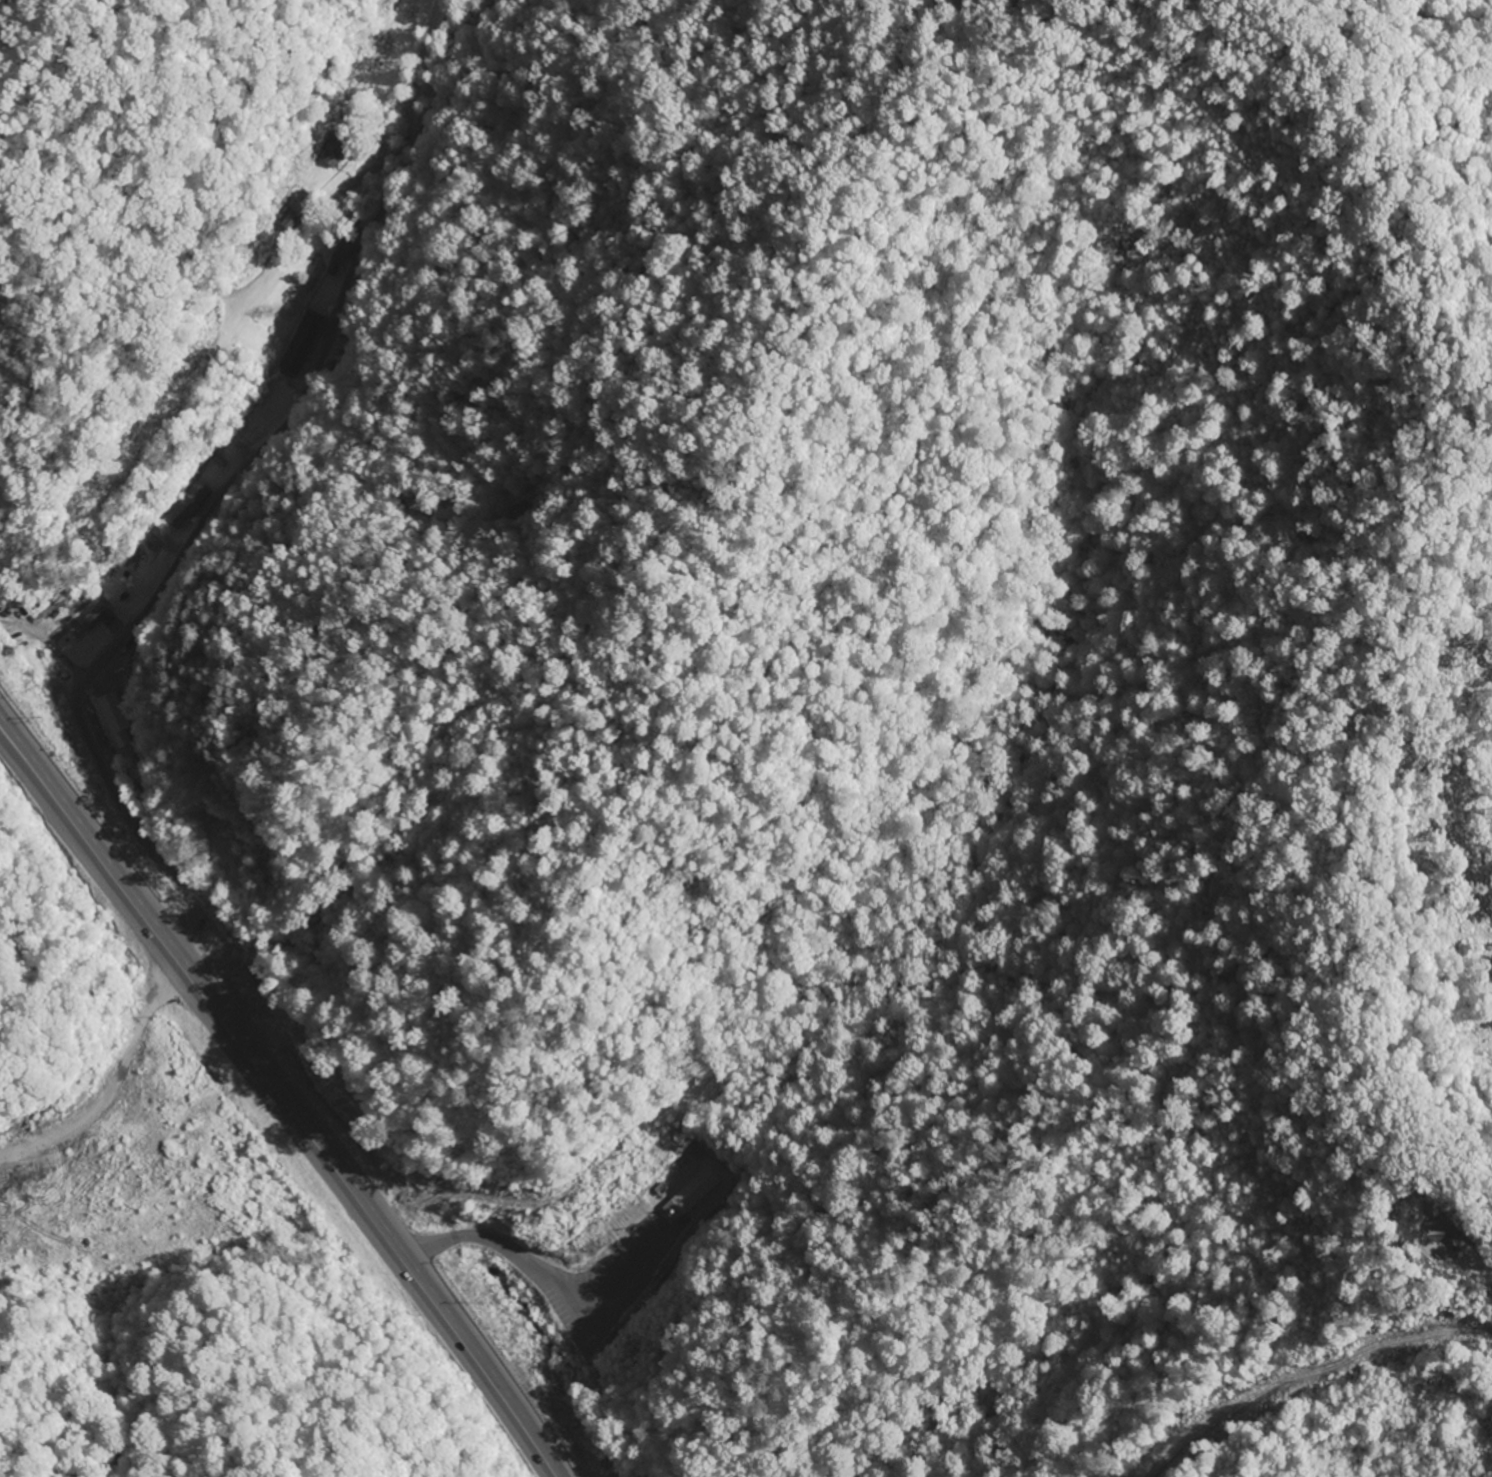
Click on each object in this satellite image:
building: (344, 251)
building: (302, 343)
road: (234, 485)
building: (187, 506)
building: (89, 619)
building: (115, 720)
road: (280, 1100)
road: (549, 1279)

